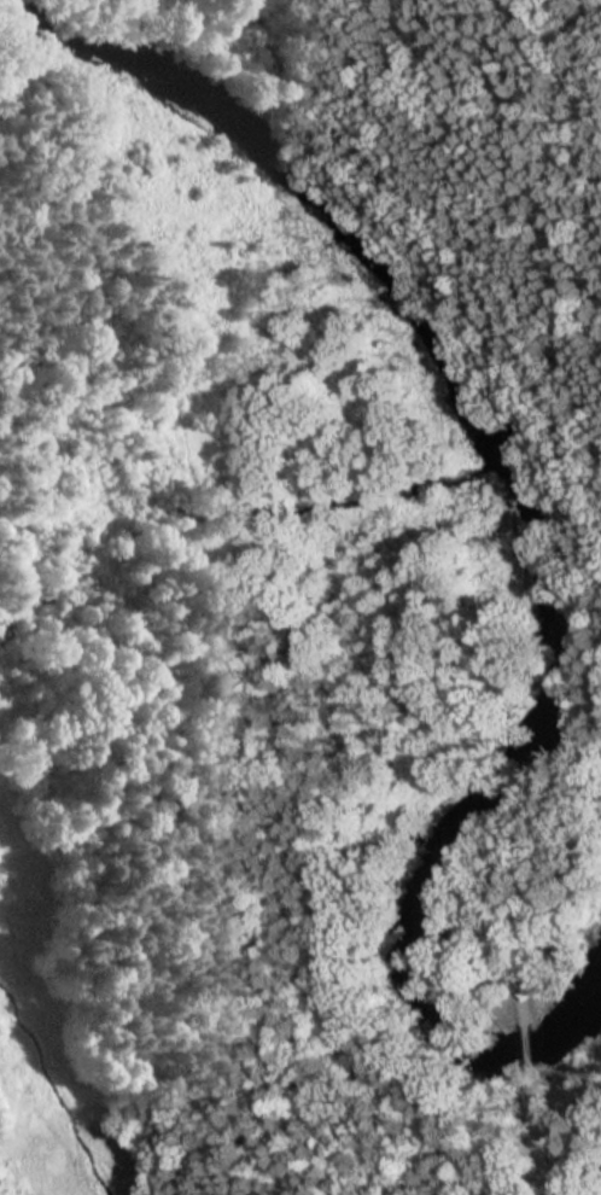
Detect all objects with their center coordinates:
river: (520, 515)

